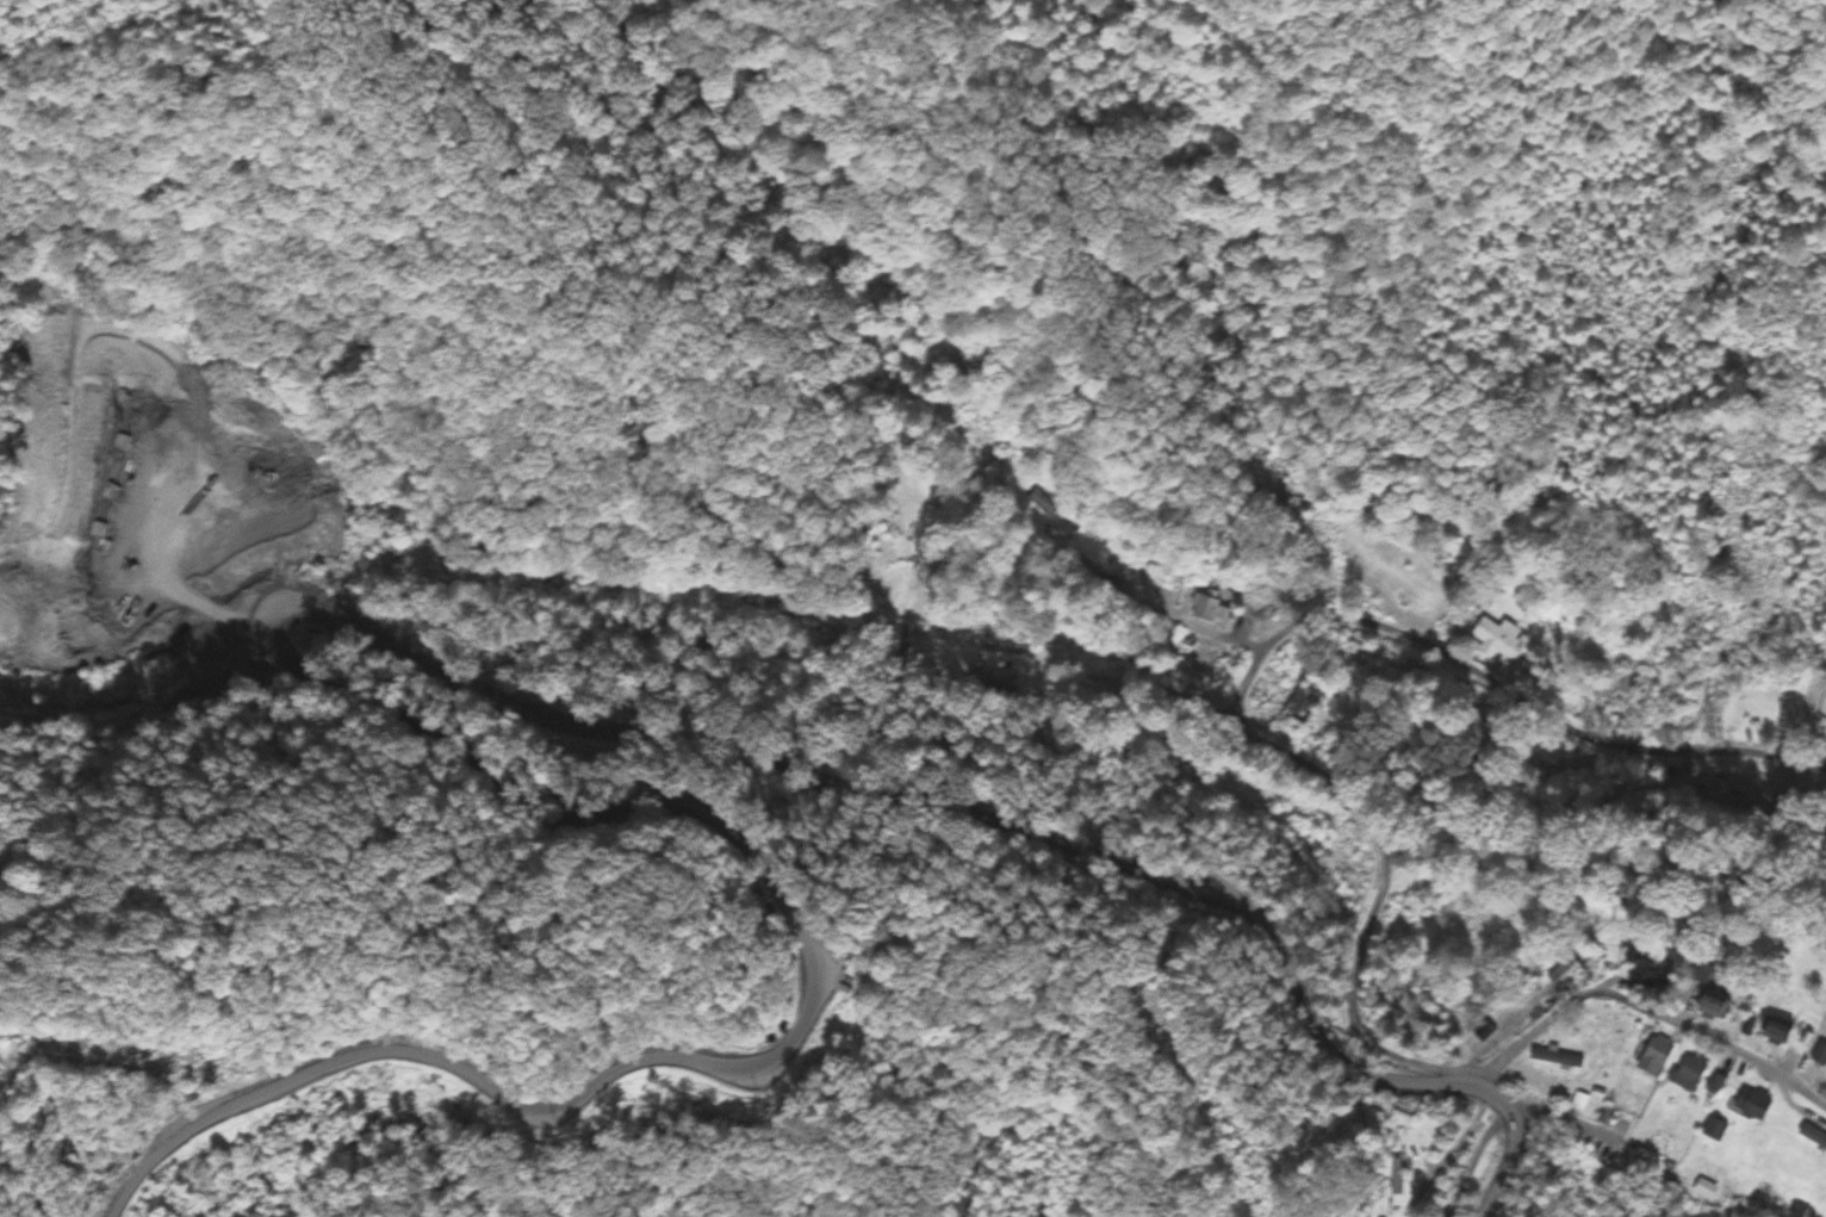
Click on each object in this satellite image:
building: (229, 442)
building: (231, 493)
building: (1205, 609)
building: (1498, 638)
building: (1302, 707)
road: (1242, 714)
road: (801, 768)
building: (1563, 974)
building: (1697, 975)
road: (1641, 1005)
building: (1704, 1008)
building: (1772, 1032)
building: (1819, 1055)
building: (1653, 1056)
building: (1555, 1058)
building: (1687, 1074)
building: (1714, 1086)
building: (1750, 1104)
road: (1559, 1119)
building: (1713, 1131)
road: (1474, 1162)

